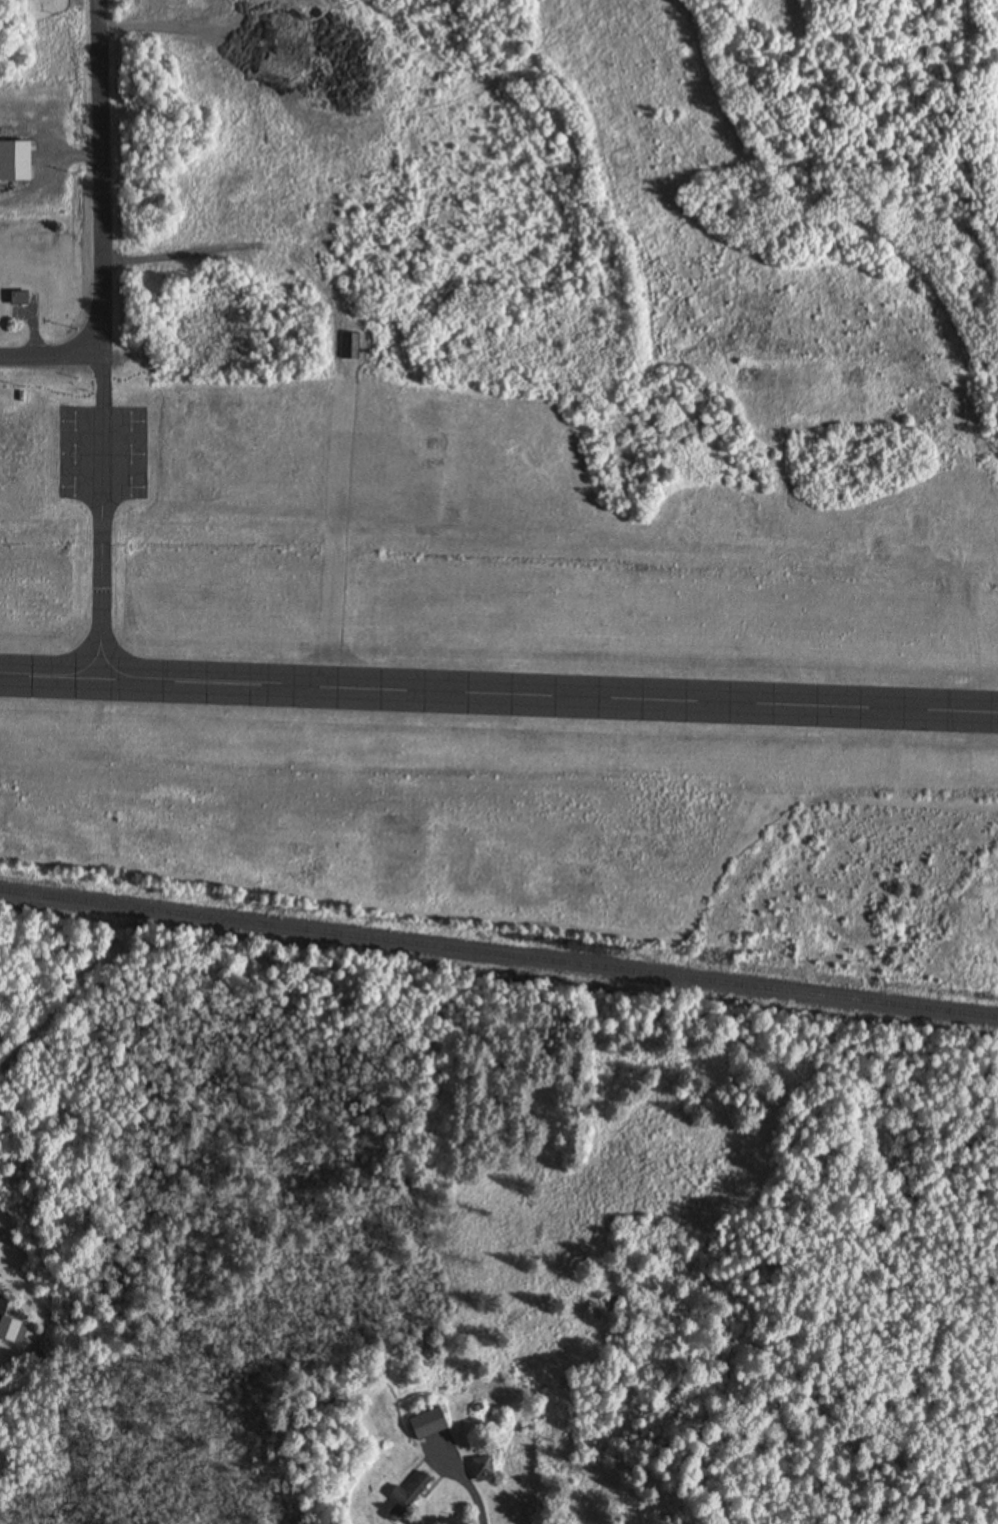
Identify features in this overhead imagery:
park: (44, 40)
park: (735, 105)
building: (13, 163)
road: (102, 176)
building: (17, 300)
road: (52, 355)
airport apron: (102, 453)
airport: (480, 456)
airport taxiway: (103, 516)
airport runway: (498, 694)
park: (558, 864)
railway: (498, 955)
building: (9, 1330)
building: (426, 1425)
building: (481, 1469)
building: (405, 1497)

